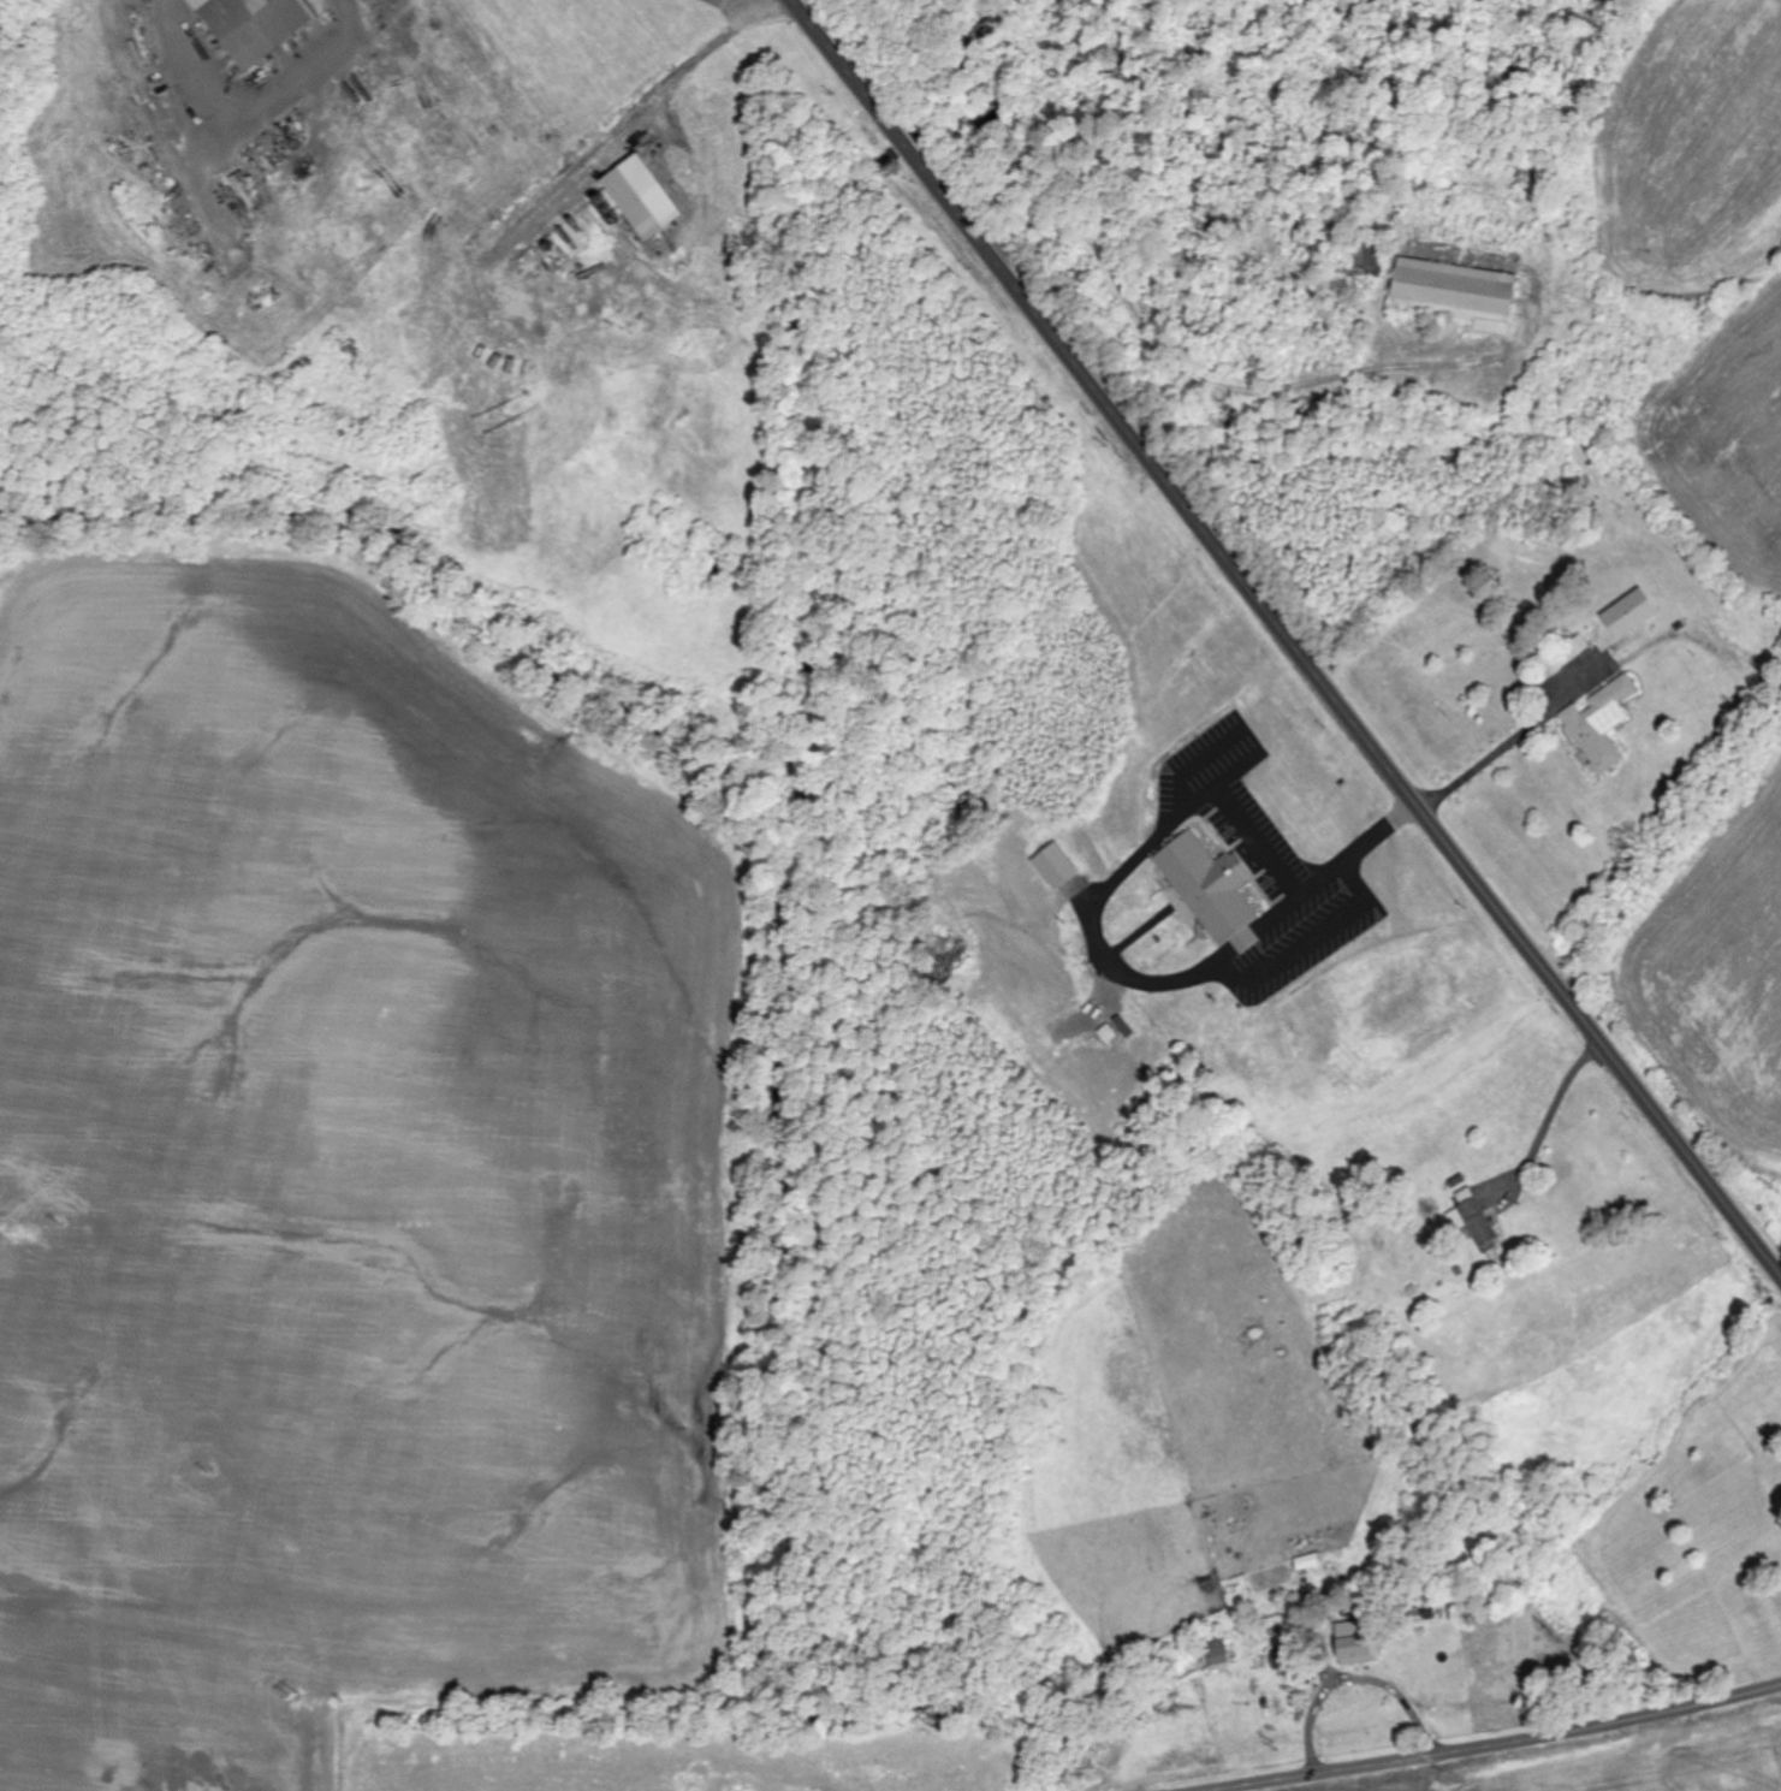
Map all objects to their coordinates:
building: (255, 26)
building: (642, 196)
building: (1370, 254)
building: (1458, 292)
road: (1176, 374)
road: (1259, 597)
building: (1631, 613)
building: (1602, 724)
building: (1055, 866)
building: (1212, 890)
building: (1473, 1218)
road: (1752, 1232)
building: (1355, 1645)
building: (1218, 1654)
building: (1281, 1661)
road: (1480, 1743)

